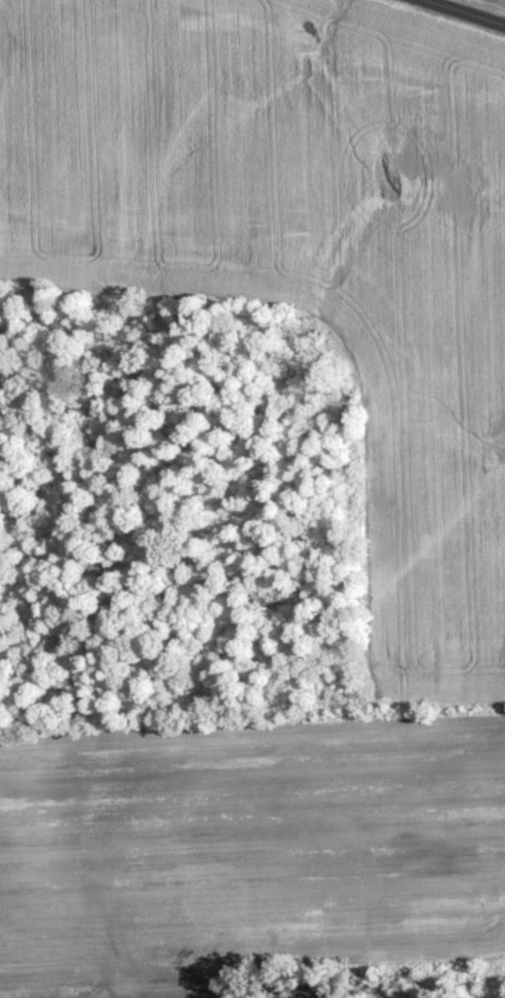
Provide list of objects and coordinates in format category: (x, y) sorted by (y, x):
road: (465, 12)

